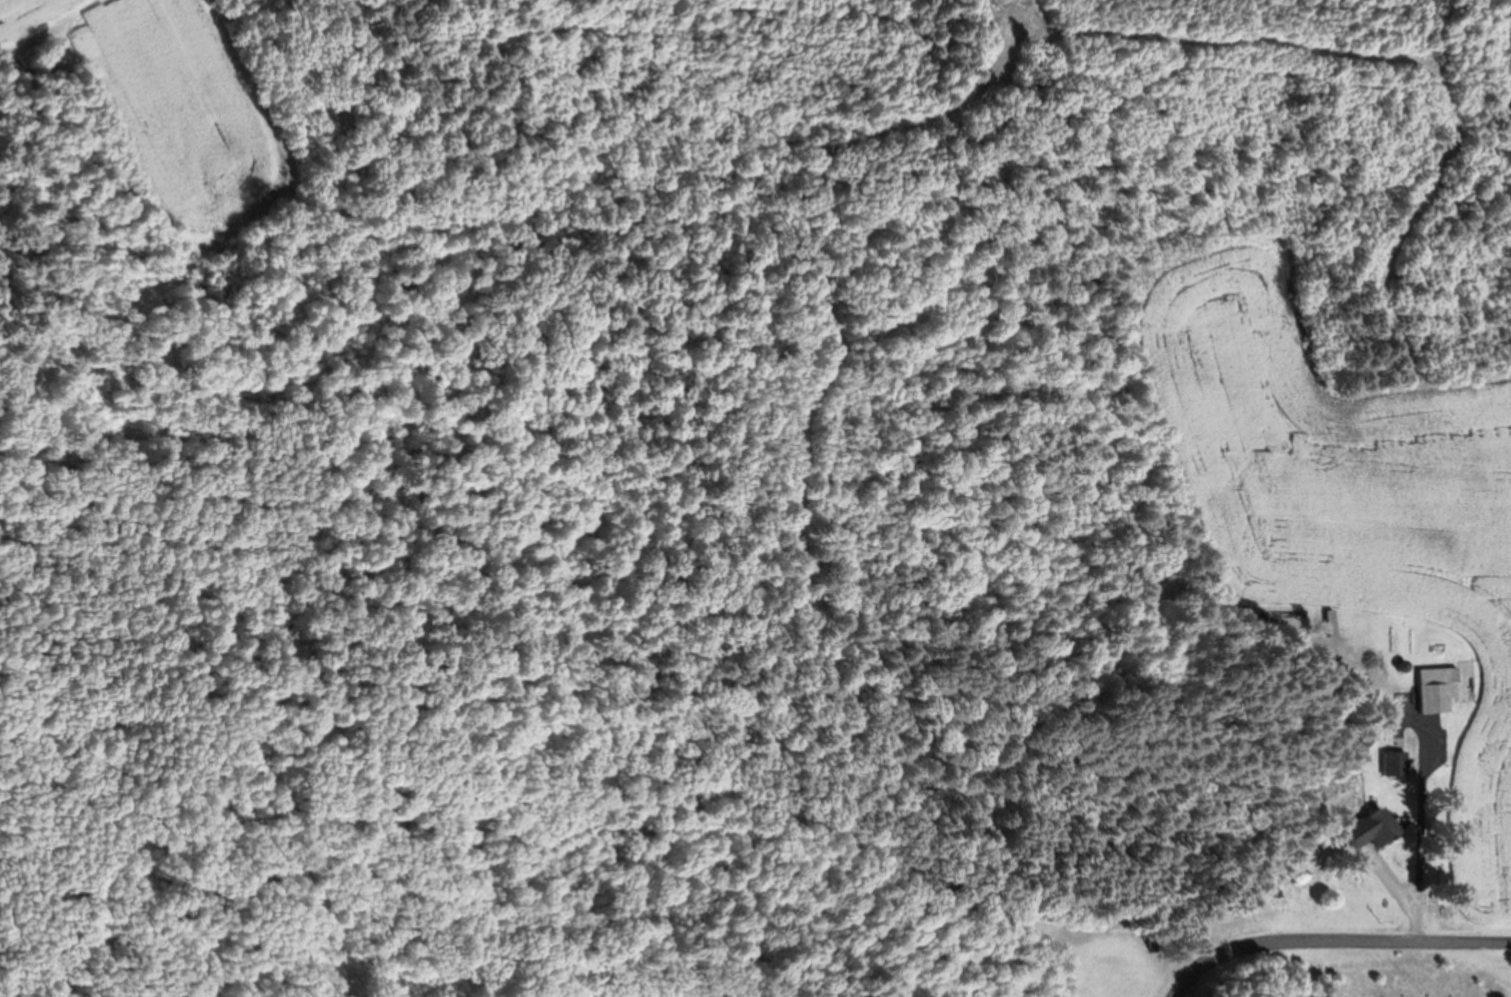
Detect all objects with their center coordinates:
building: (1338, 624)
building: (1444, 690)
building: (1404, 764)
building: (1385, 829)
road: (1466, 992)

